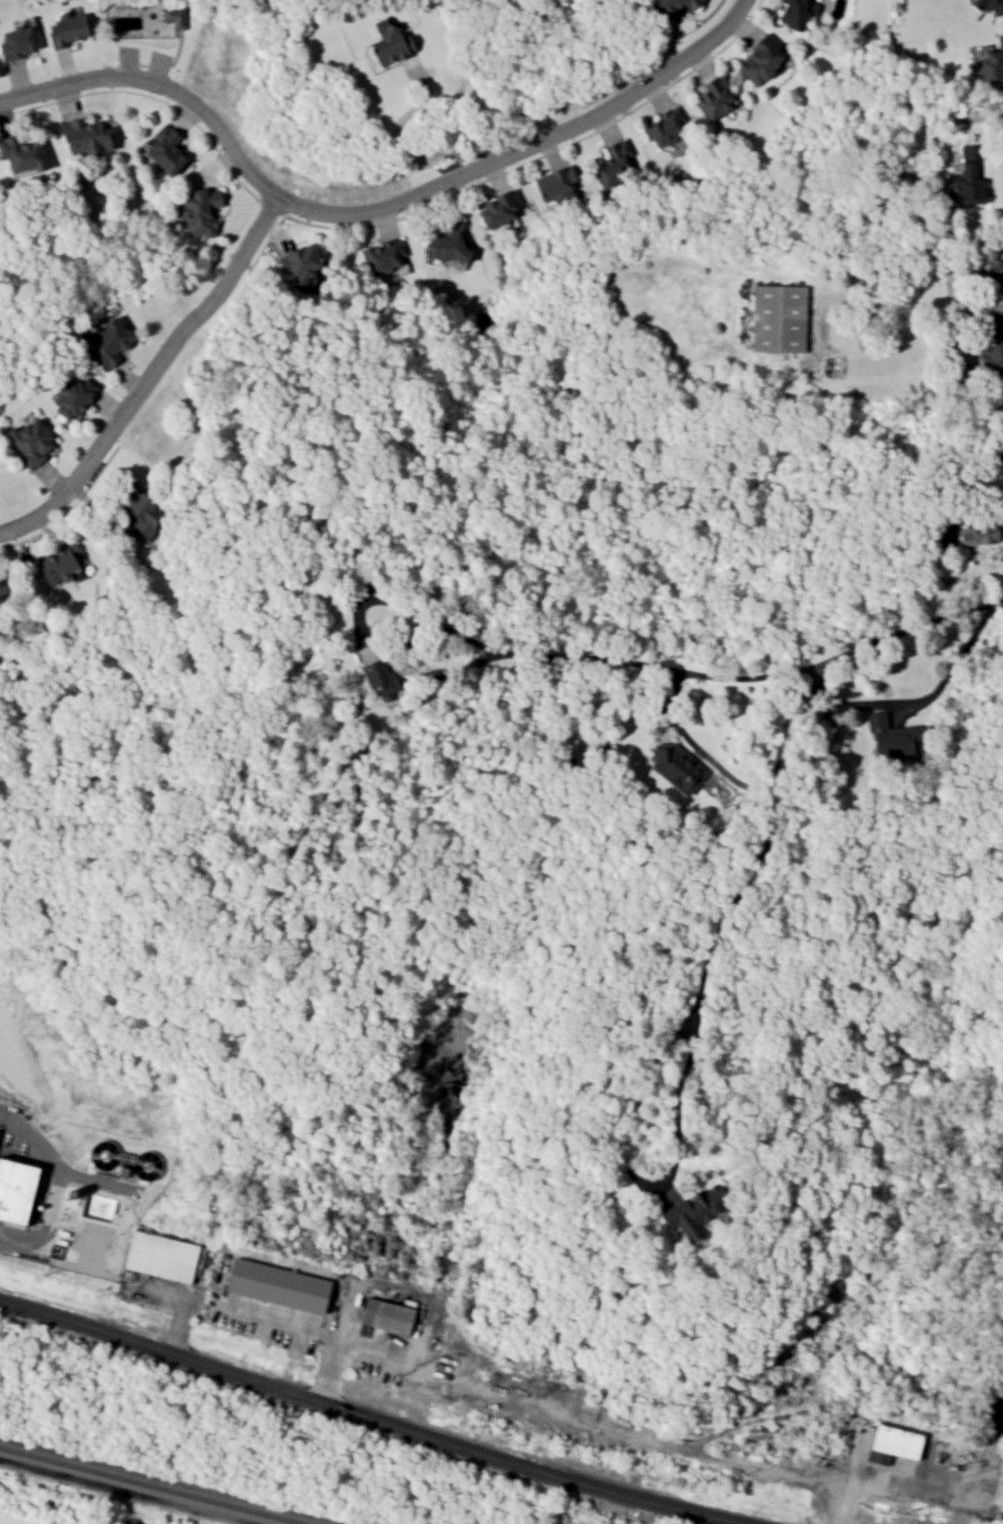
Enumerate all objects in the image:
building: (673, 5)
building: (990, 6)
building: (795, 13)
building: (173, 17)
building: (66, 30)
building: (17, 41)
building: (389, 44)
building: (760, 60)
building: (992, 64)
road: (159, 87)
building: (714, 98)
road: (974, 113)
building: (665, 126)
building: (84, 138)
road: (520, 143)
road: (408, 145)
building: (164, 150)
building: (22, 155)
building: (613, 163)
building: (969, 173)
building: (497, 209)
building: (199, 212)
building: (447, 243)
building: (382, 256)
building: (301, 261)
road: (954, 267)
building: (995, 272)
road: (896, 314)
building: (778, 318)
building: (107, 342)
building: (992, 360)
road: (147, 373)
road: (959, 377)
building: (73, 395)
building: (30, 442)
road: (966, 492)
building: (140, 513)
building: (978, 532)
building: (58, 564)
building: (2, 588)
road: (556, 655)
building: (380, 677)
road: (923, 698)
building: (896, 737)
road: (695, 745)
road: (776, 747)
building: (676, 767)
road: (635, 1179)
road: (54, 1186)
building: (15, 1189)
building: (694, 1210)
building: (159, 1256)
building: (276, 1285)
building: (385, 1316)
road: (281, 1324)
road: (558, 1417)
road: (368, 1419)
building: (890, 1444)
railway: (153, 1485)
road: (891, 1487)
building: (1000, 1501)

